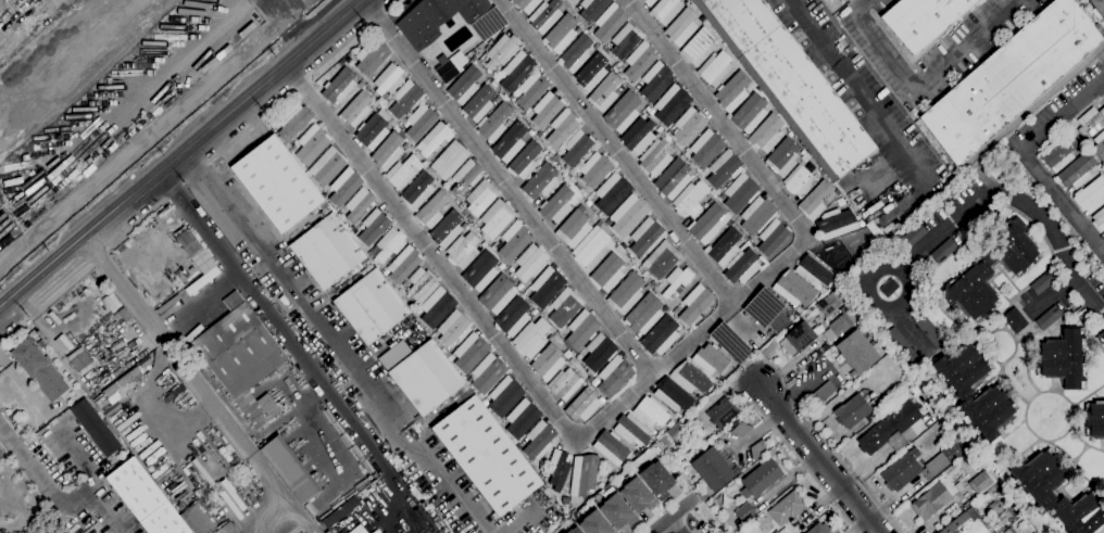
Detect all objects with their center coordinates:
building: (574, 1)
building: (649, 2)
building: (522, 3)
building: (1099, 7)
building: (592, 9)
building: (665, 10)
building: (544, 15)
building: (436, 18)
building: (924, 20)
building: (610, 22)
road: (286, 23)
building: (681, 26)
building: (486, 29)
building: (560, 30)
building: (625, 41)
building: (723, 43)
building: (595, 47)
building: (699, 47)
building: (502, 50)
building: (576, 53)
building: (372, 55)
building: (639, 61)
building: (341, 62)
building: (351, 63)
building: (610, 65)
building: (451, 66)
building: (614, 68)
building: (715, 68)
building: (516, 69)
building: (488, 71)
building: (591, 72)
road: (923, 77)
building: (497, 78)
building: (389, 79)
building: (655, 80)
building: (1013, 81)
building: (789, 83)
building: (464, 85)
building: (339, 86)
building: (637, 86)
road: (854, 87)
building: (531, 89)
building: (732, 91)
building: (604, 92)
building: (405, 99)
building: (389, 101)
building: (478, 103)
building: (672, 104)
building: (356, 109)
building: (547, 109)
building: (651, 111)
building: (623, 112)
building: (750, 113)
road: (222, 117)
road: (718, 118)
building: (1091, 120)
building: (293, 122)
building: (421, 122)
building: (493, 123)
building: (689, 126)
building: (562, 127)
road: (247, 128)
building: (658, 129)
building: (372, 131)
building: (668, 132)
building: (790, 132)
building: (766, 134)
building: (639, 135)
building: (436, 138)
building: (667, 138)
road: (141, 139)
building: (510, 142)
building: (311, 143)
building: (1099, 144)
building: (576, 147)
building: (706, 148)
building: (292, 149)
building: (388, 151)
road: (616, 152)
building: (803, 152)
building: (1058, 153)
building: (556, 156)
building: (783, 156)
building: (655, 157)
road: (1027, 158)
building: (449, 160)
building: (525, 161)
building: (327, 165)
building: (1103, 166)
building: (724, 168)
building: (595, 169)
building: (1077, 170)
building: (403, 172)
building: (569, 173)
building: (1103, 174)
building: (465, 178)
building: (674, 178)
building: (800, 180)
building: (541, 181)
building: (276, 183)
building: (344, 187)
road: (509, 188)
building: (417, 191)
building: (740, 192)
building: (837, 192)
building: (612, 193)
building: (712, 193)
building: (1091, 195)
building: (481, 196)
building: (714, 198)
building: (690, 199)
building: (815, 201)
building: (588, 202)
building: (359, 204)
building: (556, 204)
road: (973, 206)
building: (432, 210)
building: (984, 214)
building: (628, 215)
building: (757, 215)
building: (497, 218)
building: (1099, 219)
building: (861, 223)
building: (710, 224)
building: (836, 224)
building: (374, 227)
building: (574, 227)
building: (913, 234)
building: (771, 236)
building: (647, 237)
building: (1103, 239)
building: (514, 240)
building: (751, 240)
building: (389, 244)
building: (625, 244)
building: (724, 246)
building: (592, 248)
building: (463, 250)
building: (943, 250)
building: (328, 251)
road: (431, 253)
building: (197, 256)
building: (663, 258)
building: (530, 263)
building: (404, 264)
building: (501, 266)
building: (741, 266)
road: (46, 267)
building: (511, 269)
building: (991, 269)
building: (481, 271)
building: (607, 271)
building: (813, 271)
building: (677, 279)
road: (286, 280)
building: (1043, 282)
building: (653, 283)
building: (422, 284)
road: (868, 284)
building: (648, 285)
building: (519, 287)
building: (547, 287)
building: (889, 288)
building: (794, 289)
building: (679, 290)
building: (626, 292)
building: (497, 294)
road: (1052, 296)
road: (4, 302)
building: (111, 302)
building: (830, 302)
building: (695, 303)
building: (371, 305)
building: (437, 307)
building: (565, 307)
building: (665, 308)
building: (417, 310)
building: (534, 312)
building: (643, 314)
building: (513, 317)
building: (1049, 318)
building: (844, 319)
building: (1015, 319)
building: (779, 321)
road: (276, 325)
building: (453, 328)
building: (581, 329)
building: (928, 329)
road: (11, 333)
building: (661, 335)
building: (531, 338)
building: (556, 338)
building: (795, 339)
road: (693, 340)
road: (165, 341)
building: (63, 343)
building: (901, 344)
building: (471, 352)
building: (599, 352)
building: (856, 352)
building: (573, 353)
building: (447, 354)
building: (241, 357)
building: (711, 358)
building: (1063, 358)
building: (80, 360)
road: (755, 360)
building: (145, 361)
building: (548, 361)
building: (572, 361)
building: (39, 369)
building: (488, 372)
building: (589, 372)
building: (614, 376)
building: (426, 378)
building: (468, 378)
building: (690, 378)
building: (862, 378)
building: (590, 379)
building: (122, 381)
building: (594, 381)
building: (565, 384)
building: (823, 393)
building: (992, 394)
building: (674, 395)
building: (505, 396)
building: (485, 403)
building: (584, 404)
building: (105, 405)
building: (651, 411)
building: (852, 411)
building: (722, 413)
building: (12, 418)
building: (522, 418)
building: (1094, 419)
building: (95, 427)
building: (891, 427)
building: (631, 429)
building: (740, 429)
building: (678, 432)
building: (539, 440)
building: (611, 447)
building: (757, 449)
building: (1, 454)
building: (487, 455)
building: (943, 458)
road: (823, 459)
building: (1, 460)
road: (436, 467)
building: (559, 468)
building: (715, 468)
building: (289, 469)
building: (903, 469)
building: (582, 475)
building: (762, 478)
building: (655, 479)
building: (980, 483)
building: (959, 485)
road: (272, 487)
road: (53, 491)
building: (1037, 491)
building: (636, 495)
building: (145, 499)
building: (930, 499)
building: (788, 507)
building: (995, 509)
building: (616, 511)
building: (743, 511)
road: (674, 516)
road: (520, 521)
building: (594, 523)
building: (963, 525)
road: (677, 526)
building: (818, 528)
building: (228, 529)
building: (356, 530)
building: (573, 530)
building: (1008, 530)
building: (776, 532)
building: (1031, 532)
building: (1033, 532)

